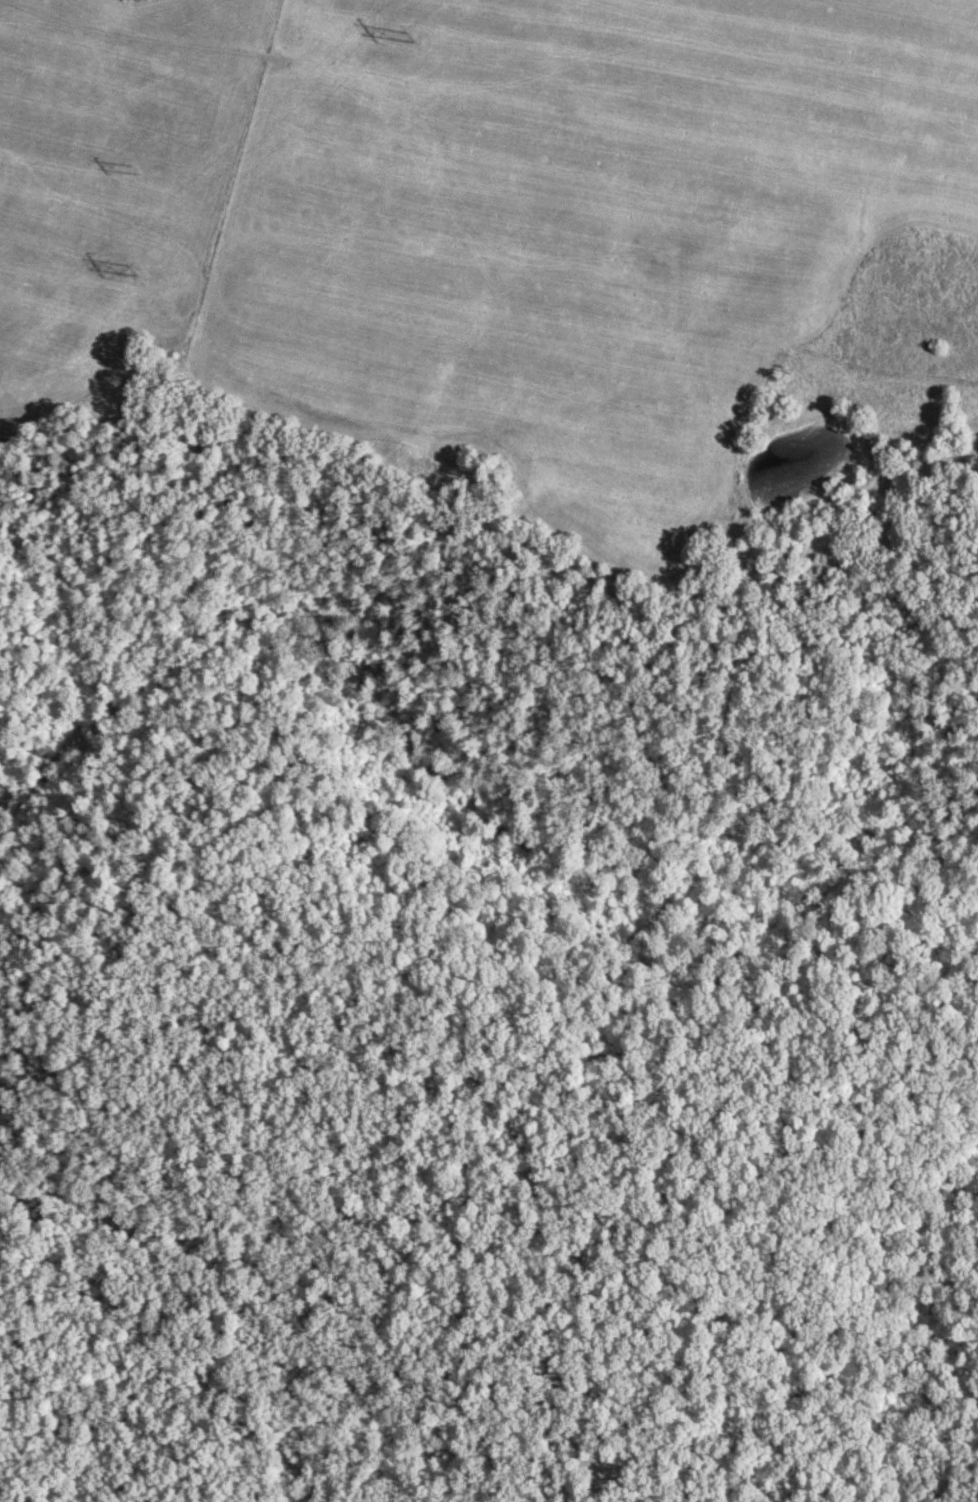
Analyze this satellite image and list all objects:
power tower: (415, 35)
power tower: (137, 266)

